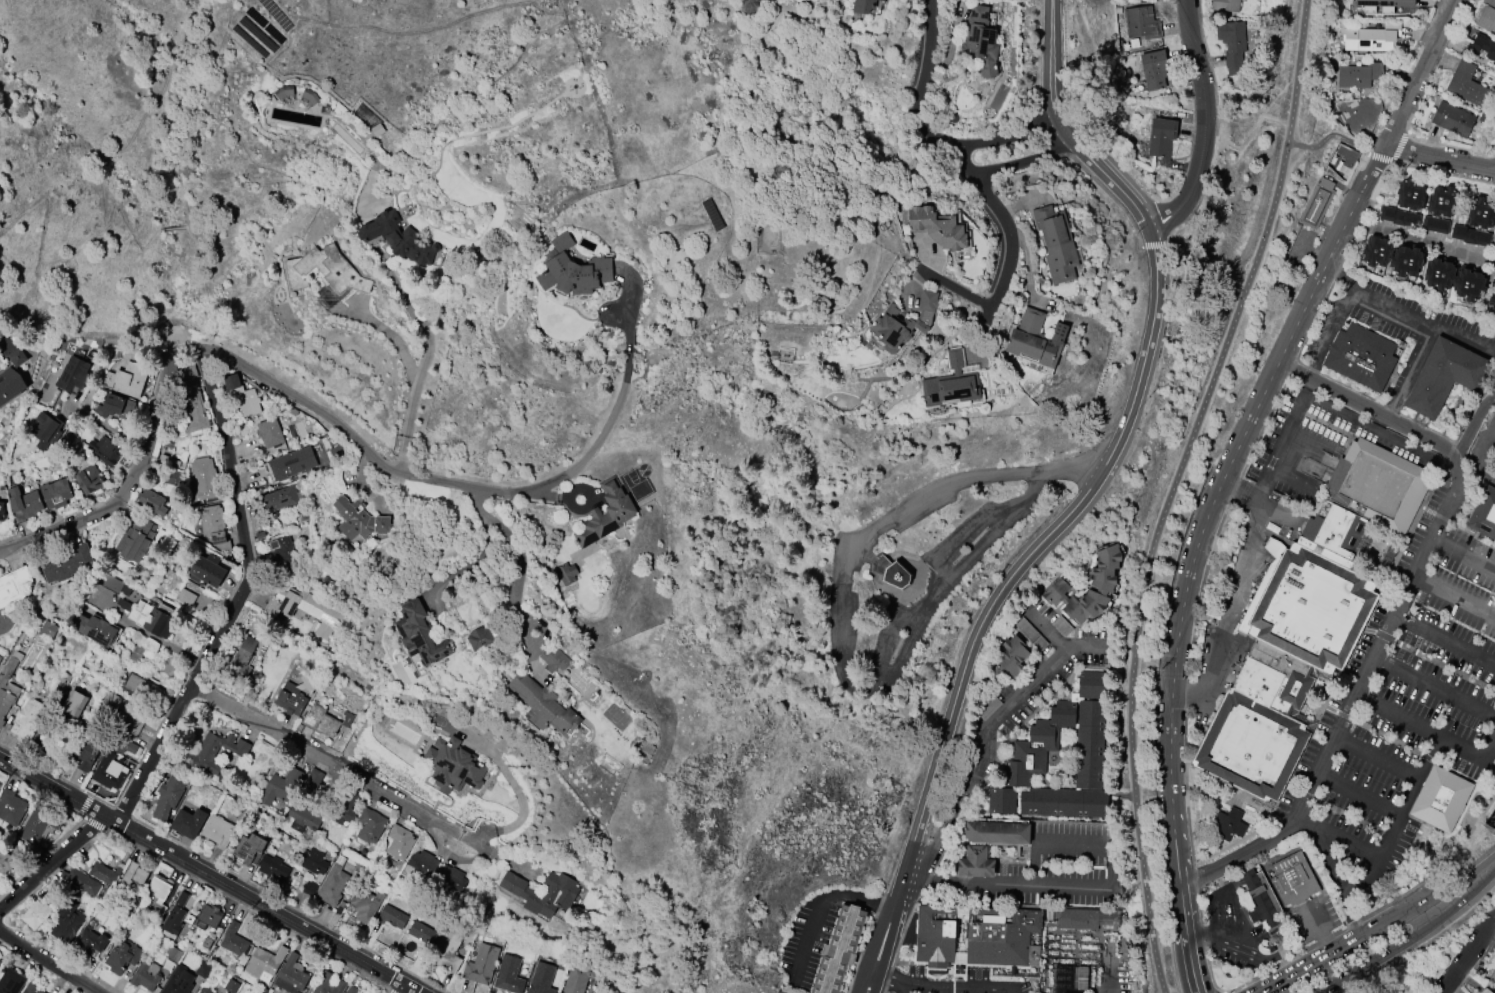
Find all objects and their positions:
building: (1386, 3)
building: (863, 5)
building: (1226, 5)
building: (1485, 15)
building: (1141, 22)
building: (1370, 38)
building: (980, 41)
building: (1233, 45)
building: (1482, 47)
building: (1154, 69)
road: (1417, 71)
building: (1359, 74)
building: (1467, 84)
building: (284, 92)
building: (1453, 119)
road: (1205, 123)
road: (1333, 135)
road: (936, 138)
building: (1161, 138)
road: (1438, 155)
building: (1410, 195)
building: (1443, 201)
building: (1317, 203)
building: (1481, 212)
building: (1398, 216)
building: (1435, 225)
building: (938, 227)
road: (1009, 235)
building: (1470, 235)
building: (399, 237)
road: (1419, 239)
building: (1494, 243)
building: (1057, 244)
building: (1377, 252)
building: (1407, 262)
building: (572, 269)
building: (325, 270)
building: (1455, 280)
road: (956, 288)
building: (1492, 299)
road: (1408, 308)
building: (903, 322)
road: (1330, 332)
building: (1038, 339)
road: (392, 340)
road: (3, 347)
building: (1362, 354)
road: (224, 358)
road: (423, 364)
road: (1410, 370)
building: (72, 375)
building: (1447, 375)
building: (127, 379)
building: (951, 384)
building: (10, 386)
road: (1301, 394)
building: (242, 396)
building: (192, 399)
building: (118, 407)
road: (615, 411)
road: (1471, 425)
road: (1401, 428)
building: (47, 430)
building: (270, 432)
road: (1309, 437)
building: (108, 452)
road: (1116, 458)
road: (1478, 459)
building: (291, 464)
building: (1493, 466)
building: (1494, 472)
road: (1293, 477)
building: (89, 480)
building: (205, 481)
building: (1383, 484)
road: (1174, 489)
building: (55, 492)
road: (554, 496)
building: (283, 499)
building: (151, 501)
building: (25, 502)
road: (914, 502)
building: (2, 511)
building: (1483, 513)
building: (606, 514)
building: (360, 518)
road: (490, 520)
building: (214, 526)
building: (1344, 538)
building: (136, 539)
road: (1192, 549)
building: (285, 553)
road: (1464, 555)
building: (1108, 557)
building: (68, 564)
road: (472, 566)
building: (207, 571)
building: (566, 573)
building: (897, 576)
road: (1414, 578)
building: (1103, 580)
road: (943, 584)
road: (932, 585)
building: (13, 586)
road: (1234, 588)
road: (520, 592)
building: (1055, 592)
road: (240, 597)
road: (1454, 599)
building: (1094, 602)
building: (1074, 610)
building: (1315, 610)
building: (307, 614)
building: (154, 618)
building: (49, 629)
building: (95, 629)
road: (1049, 631)
building: (420, 634)
building: (479, 638)
road: (1445, 643)
building: (1011, 658)
building: (555, 660)
building: (240, 661)
road: (1440, 666)
road: (1041, 676)
building: (1275, 677)
building: (264, 683)
building: (1091, 685)
building: (8, 686)
road: (1436, 687)
building: (144, 689)
building: (291, 699)
building: (75, 705)
building: (544, 706)
parking lot: (1402, 708)
building: (120, 712)
road: (1394, 714)
building: (29, 718)
building: (325, 721)
road: (1387, 738)
building: (1089, 744)
building: (1038, 745)
building: (1254, 747)
building: (215, 751)
building: (85, 752)
road: (327, 758)
road: (1376, 759)
building: (454, 766)
building: (110, 772)
building: (312, 781)
building: (0, 786)
building: (281, 787)
road: (1306, 793)
building: (169, 795)
road: (1358, 796)
building: (1441, 799)
building: (999, 801)
road: (521, 802)
building: (1062, 802)
building: (11, 807)
building: (343, 812)
building: (305, 816)
road: (954, 817)
road: (1347, 817)
road: (1397, 821)
building: (189, 822)
building: (1228, 824)
building: (39, 825)
building: (371, 826)
building: (219, 830)
building: (999, 832)
road: (1338, 835)
building: (400, 842)
road: (484, 846)
building: (250, 849)
road: (1240, 854)
building: (311, 860)
building: (6, 861)
road: (49, 862)
building: (423, 863)
building: (977, 863)
building: (273, 867)
road: (225, 869)
building: (105, 872)
building: (135, 874)
road: (209, 877)
building: (1295, 879)
building: (452, 880)
building: (81, 881)
road: (1090, 885)
road: (1468, 886)
building: (333, 887)
building: (308, 889)
building: (160, 894)
building: (543, 896)
building: (1264, 900)
road: (1261, 901)
road: (818, 903)
building: (366, 905)
building: (37, 914)
road: (1349, 915)
road: (1407, 915)
building: (175, 916)
building: (209, 916)
building: (69, 917)
building: (392, 919)
building: (1078, 919)
road: (1220, 920)
road: (880, 932)
road: (1320, 933)
building: (421, 935)
building: (936, 936)
road: (894, 937)
building: (1004, 937)
road: (1203, 938)
road: (1358, 941)
building: (90, 942)
building: (234, 942)
road: (864, 944)
building: (448, 950)
building: (841, 950)
road: (1276, 952)
road: (1386, 953)
building: (123, 956)
road: (1467, 957)
building: (0, 959)
road: (48, 961)
building: (0, 962)
building: (265, 962)
building: (482, 964)
road: (1106, 964)
parking lot: (1112, 969)
road: (1302, 973)
road: (874, 974)
building: (292, 975)
building: (508, 975)
building: (147, 976)
building: (541, 978)
building: (576, 978)
building: (1493, 978)
building: (11, 980)
building: (179, 981)
road: (862, 981)
road: (947, 983)
parking lot: (954, 983)
building: (329, 984)
road: (879, 985)
road: (901, 987)
road: (937, 988)
building: (32, 989)
building: (352, 989)
road: (972, 989)
building: (204, 990)
road: (402, 990)
road: (1012, 990)
road: (1167, 991)
building: (1485, 991)
building: (779, 992)

